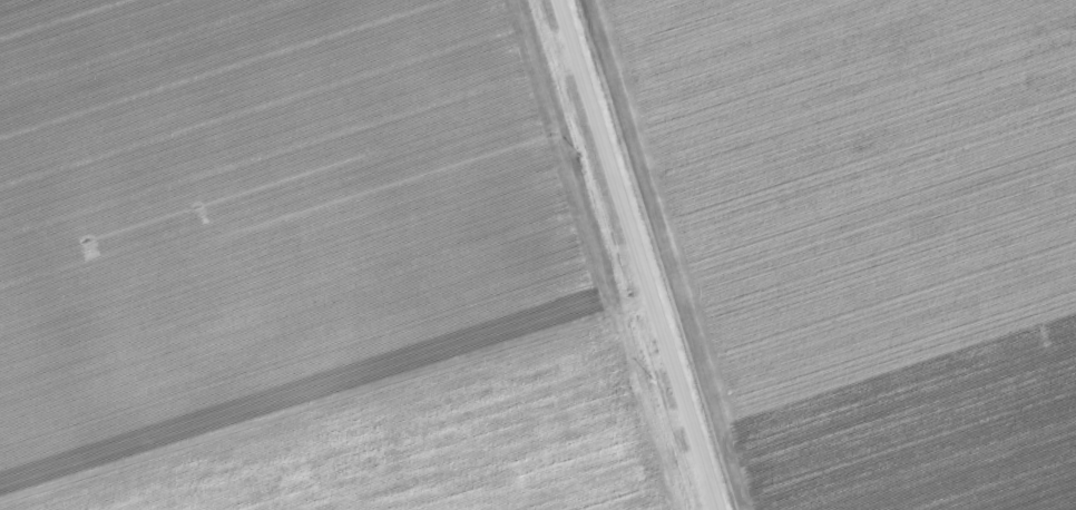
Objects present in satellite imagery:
road: (640, 255)

